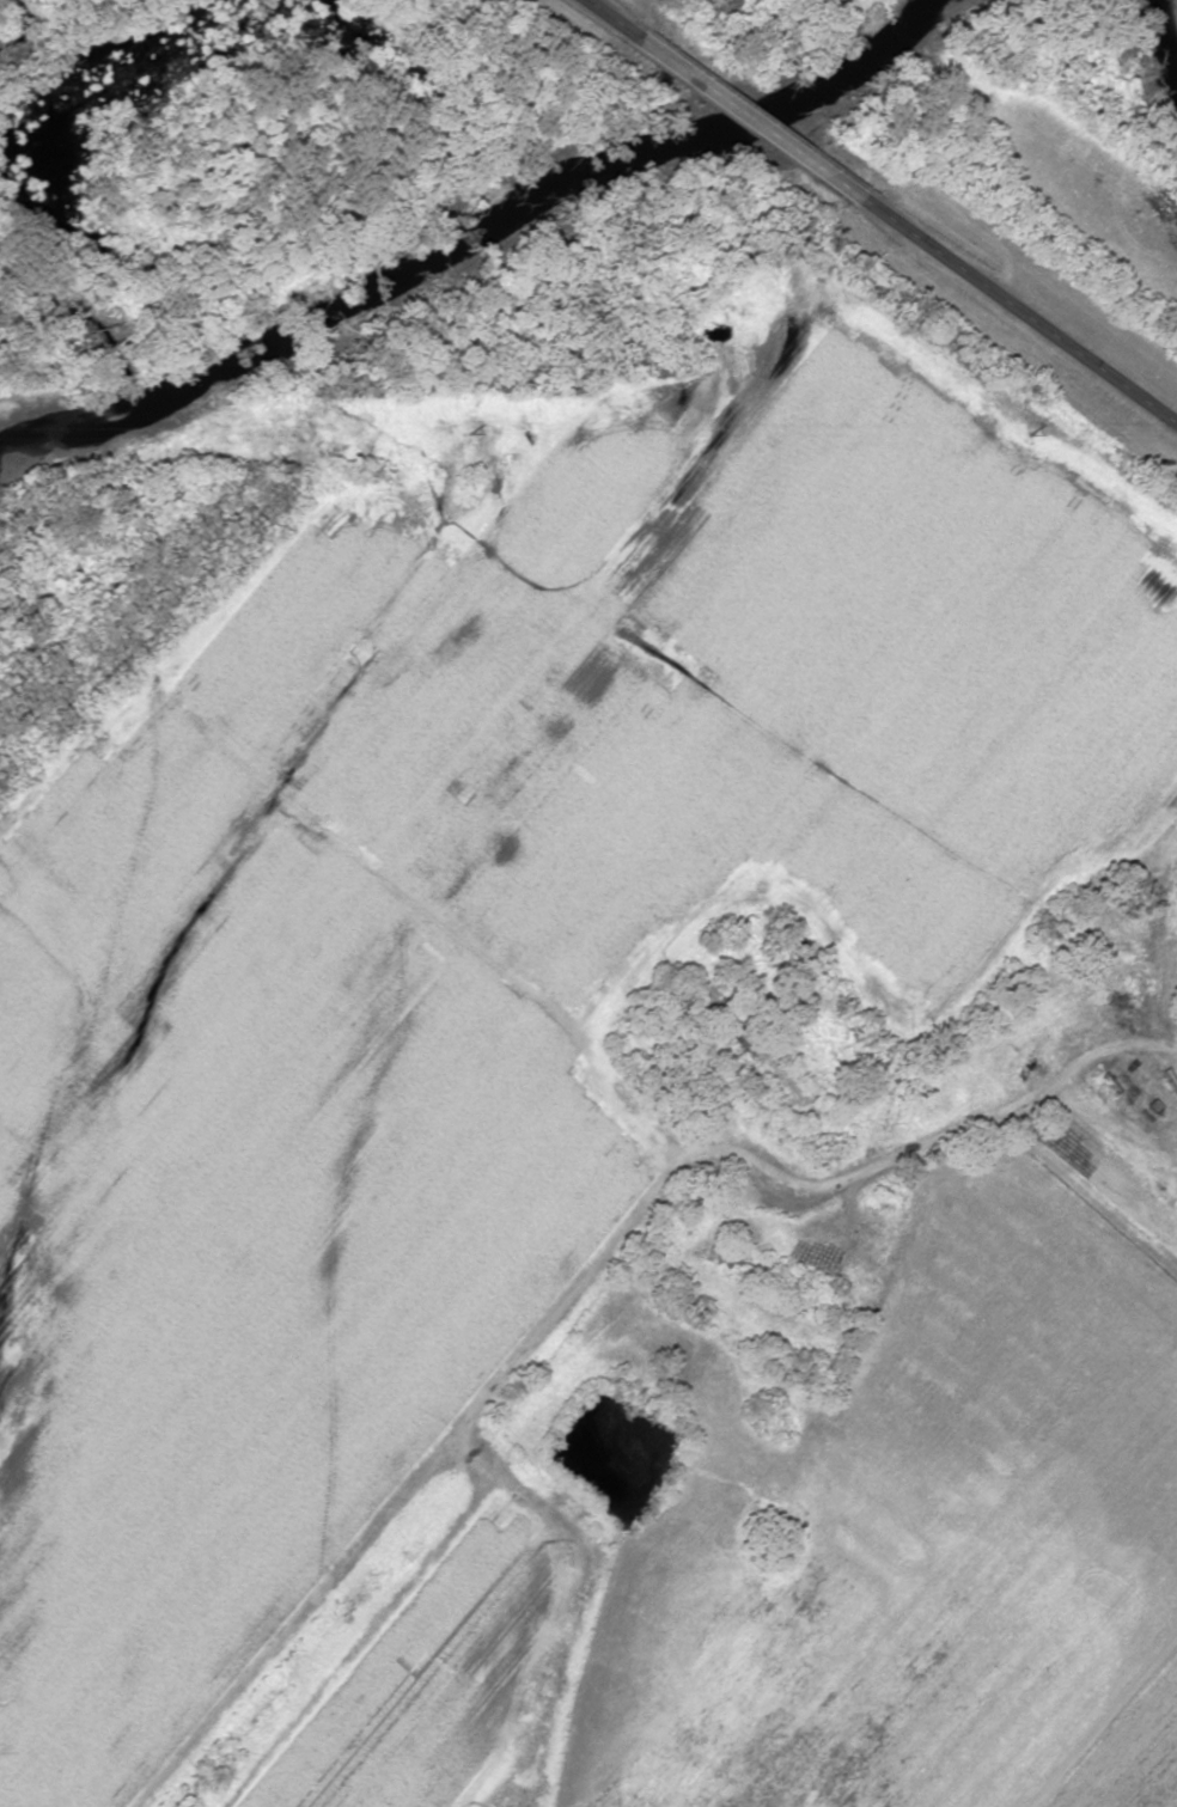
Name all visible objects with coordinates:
road: (611, 18)
river: (1153, 33)
road: (749, 116)
river: (486, 234)
road: (1019, 310)

